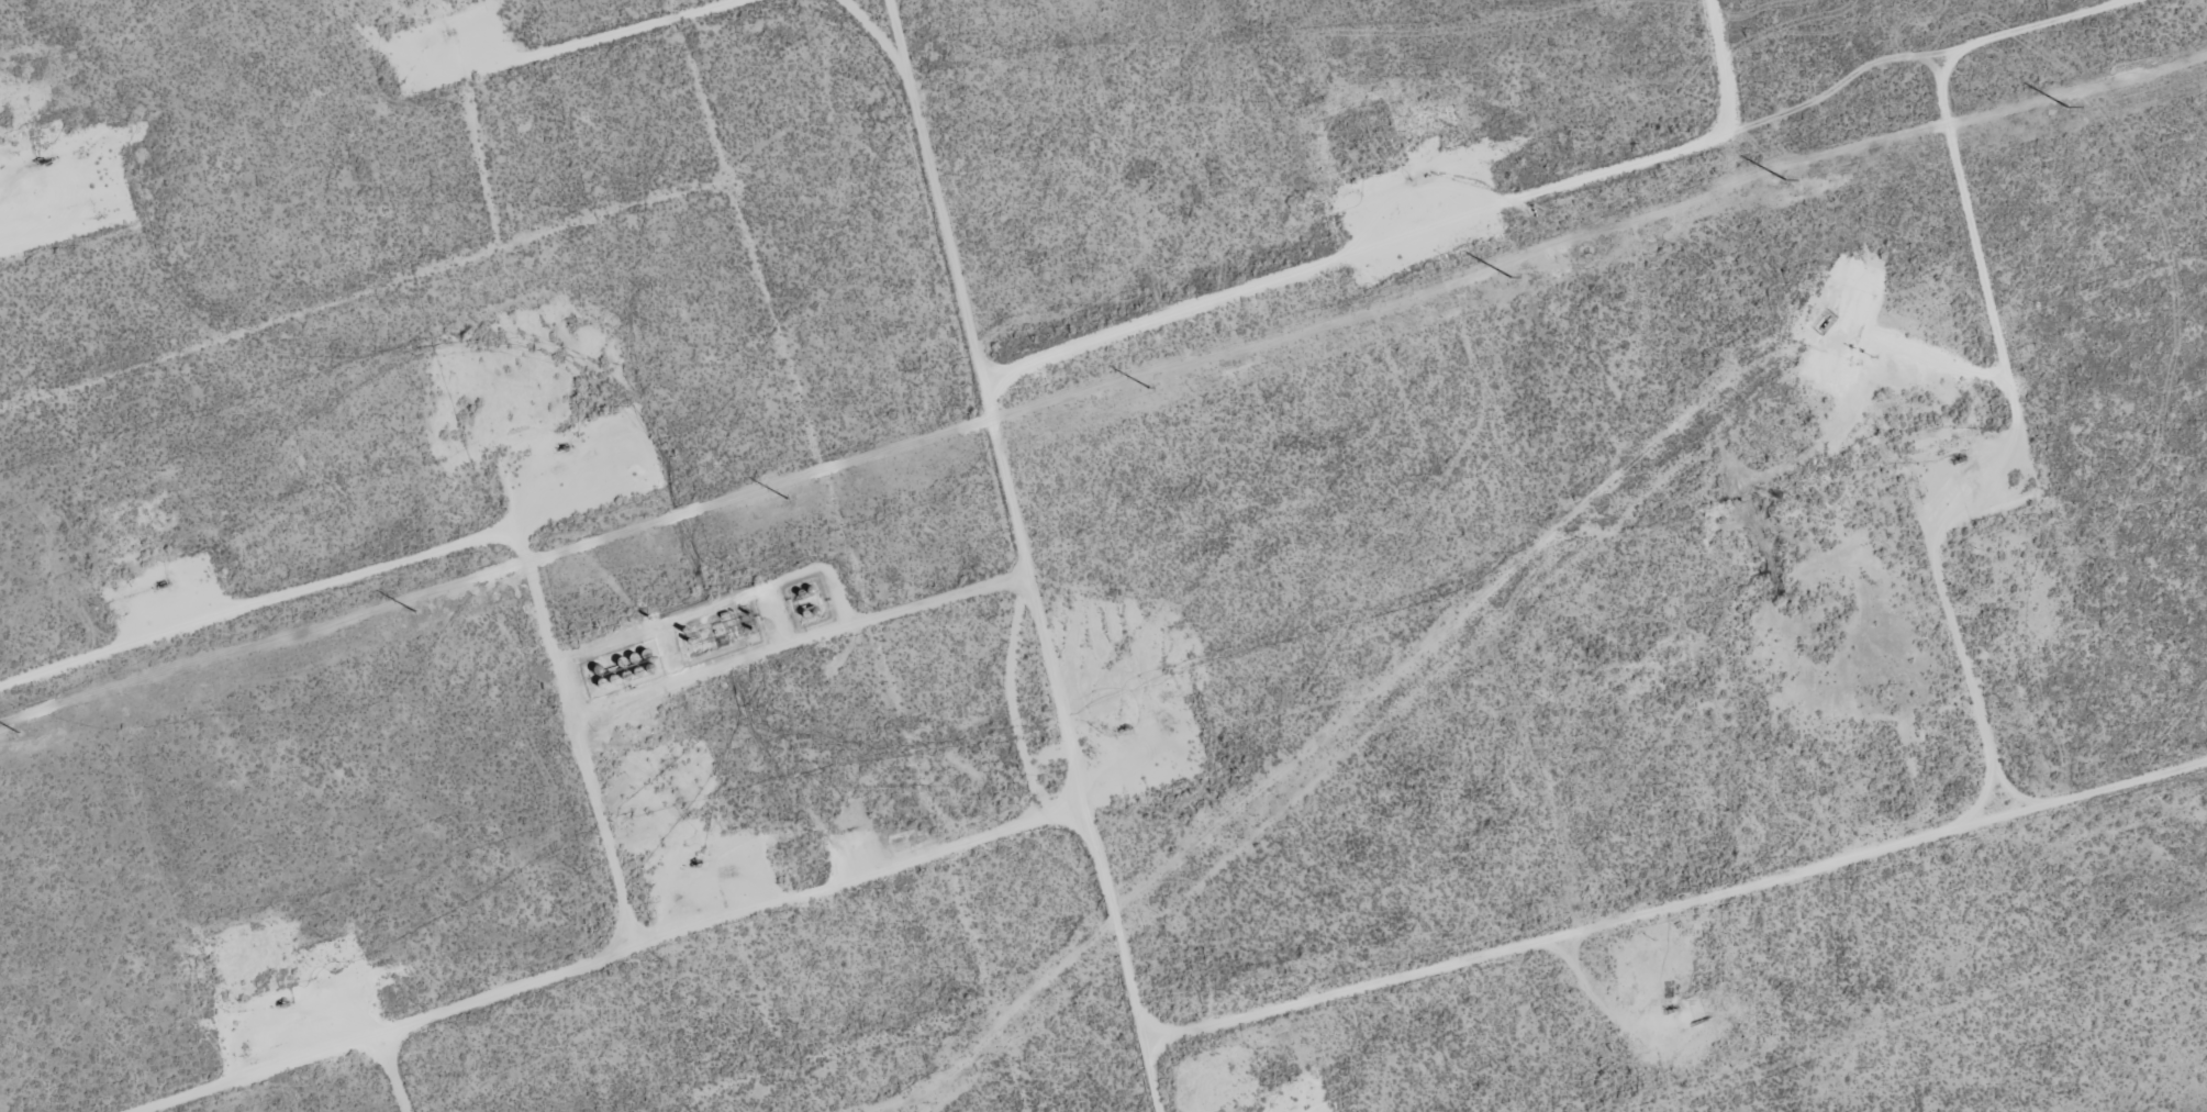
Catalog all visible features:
road: (952, 26)
road: (1454, 423)
road: (972, 552)
road: (1309, 710)
road: (1483, 715)
road: (1561, 864)
road: (1474, 980)

